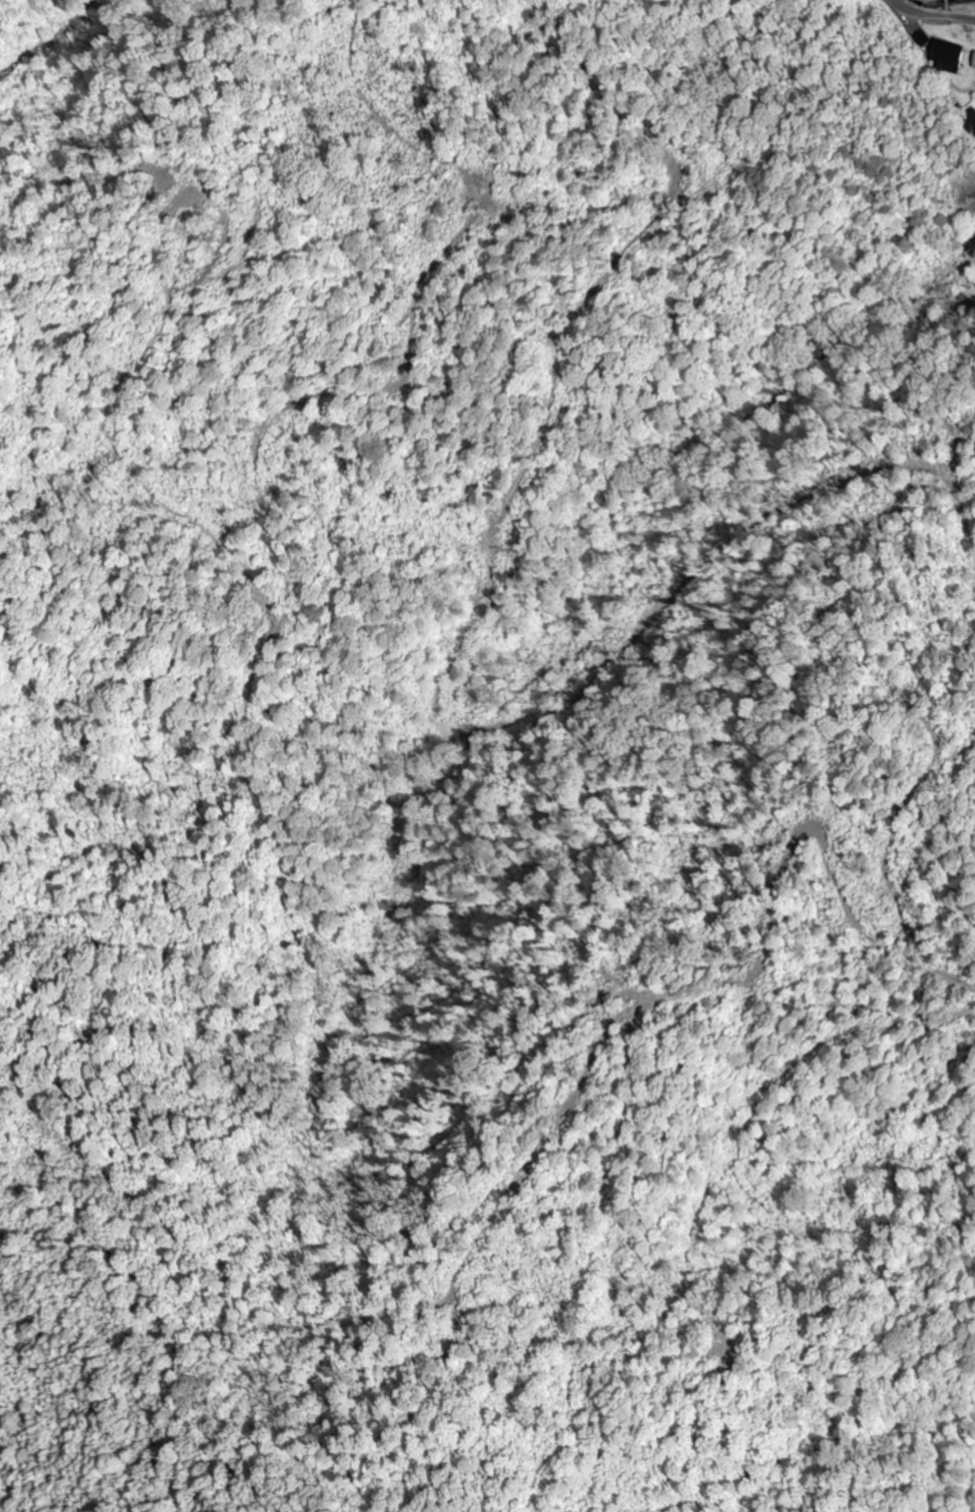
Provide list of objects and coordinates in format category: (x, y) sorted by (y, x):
road: (931, 12)
building: (947, 55)
building: (968, 122)

